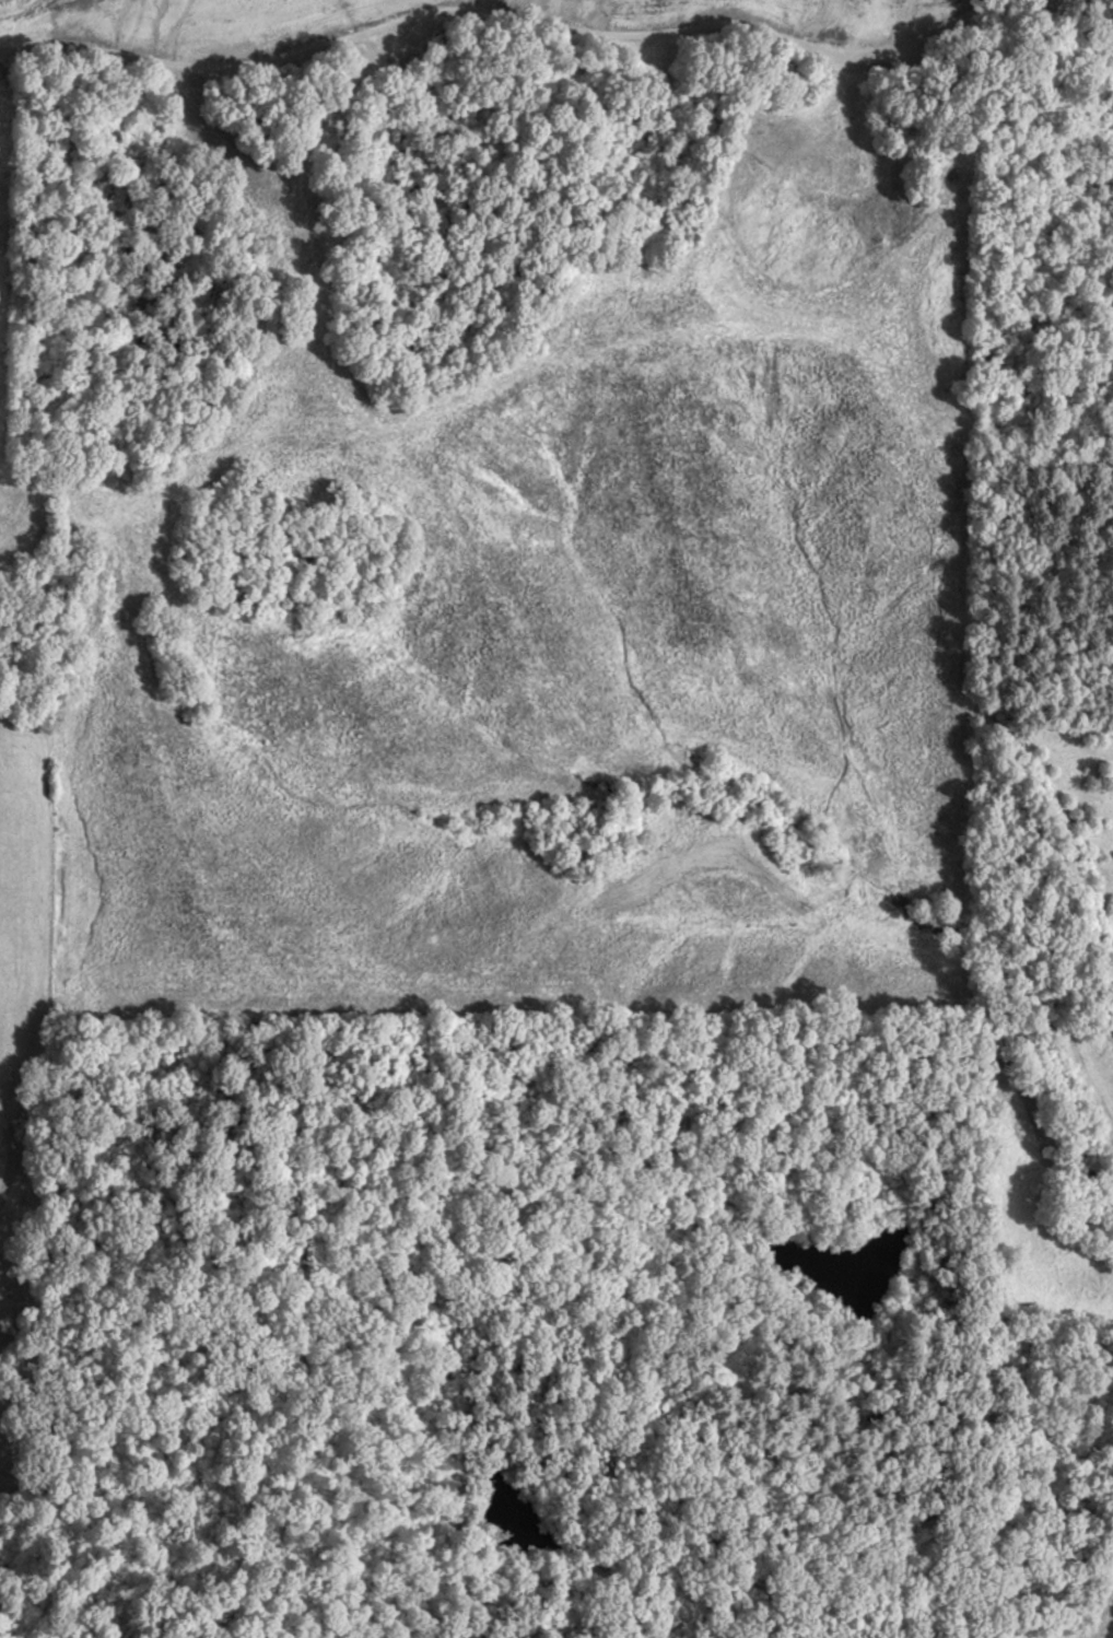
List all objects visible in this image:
road: (554, 25)

